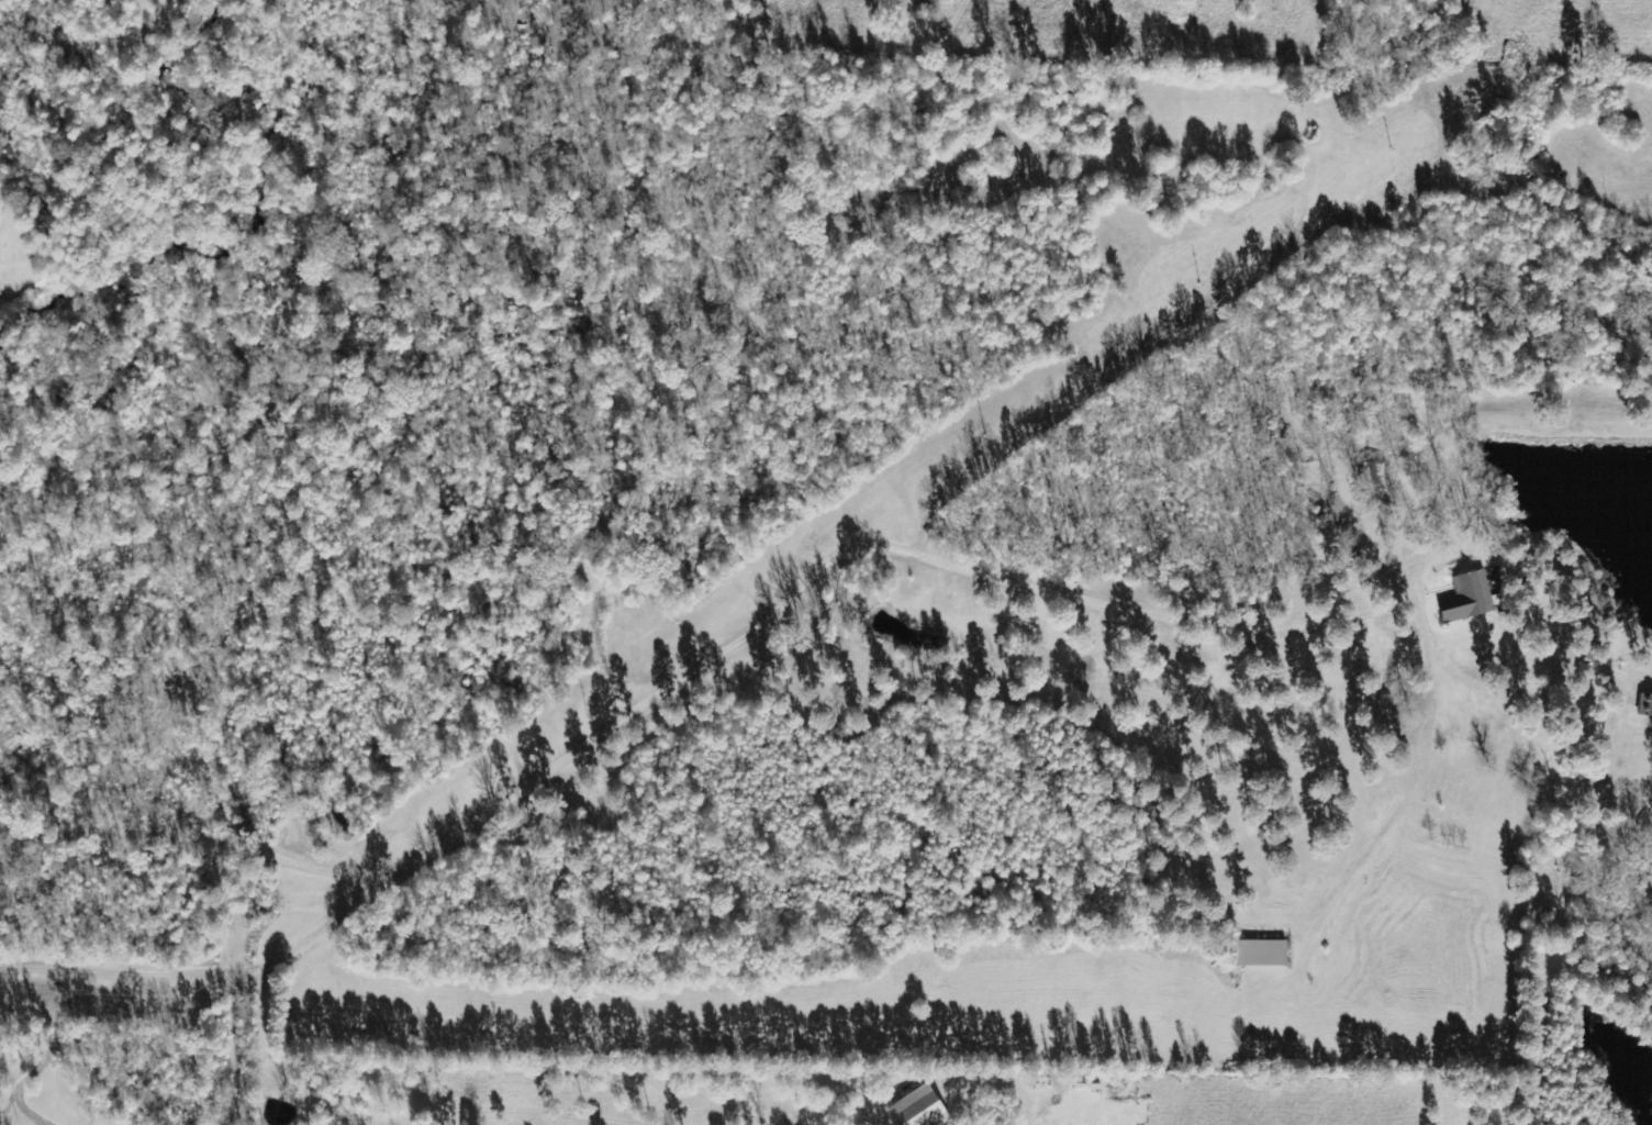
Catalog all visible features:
road: (34, 48)
building: (1464, 598)
building: (1644, 705)
building: (1257, 953)
building: (914, 1109)

